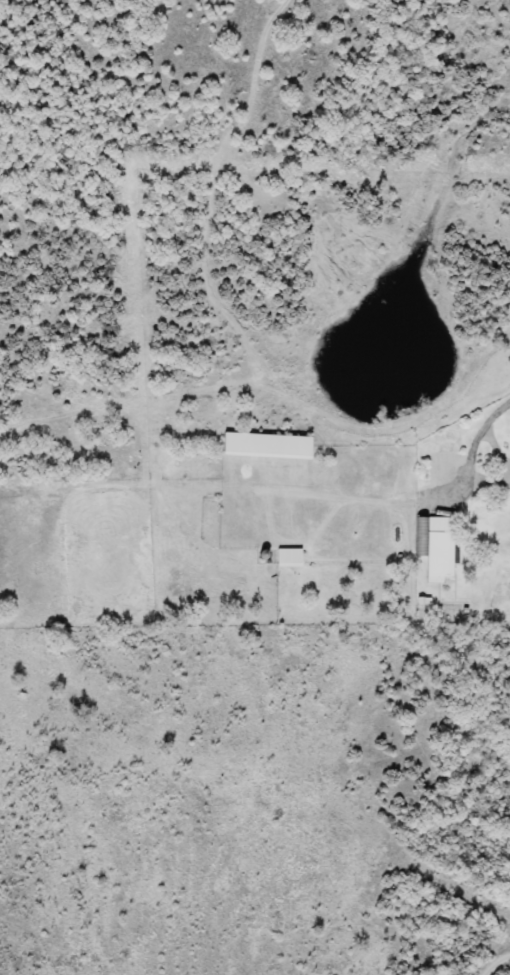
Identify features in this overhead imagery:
building: (268, 446)
road: (439, 500)
building: (434, 547)
building: (289, 558)

